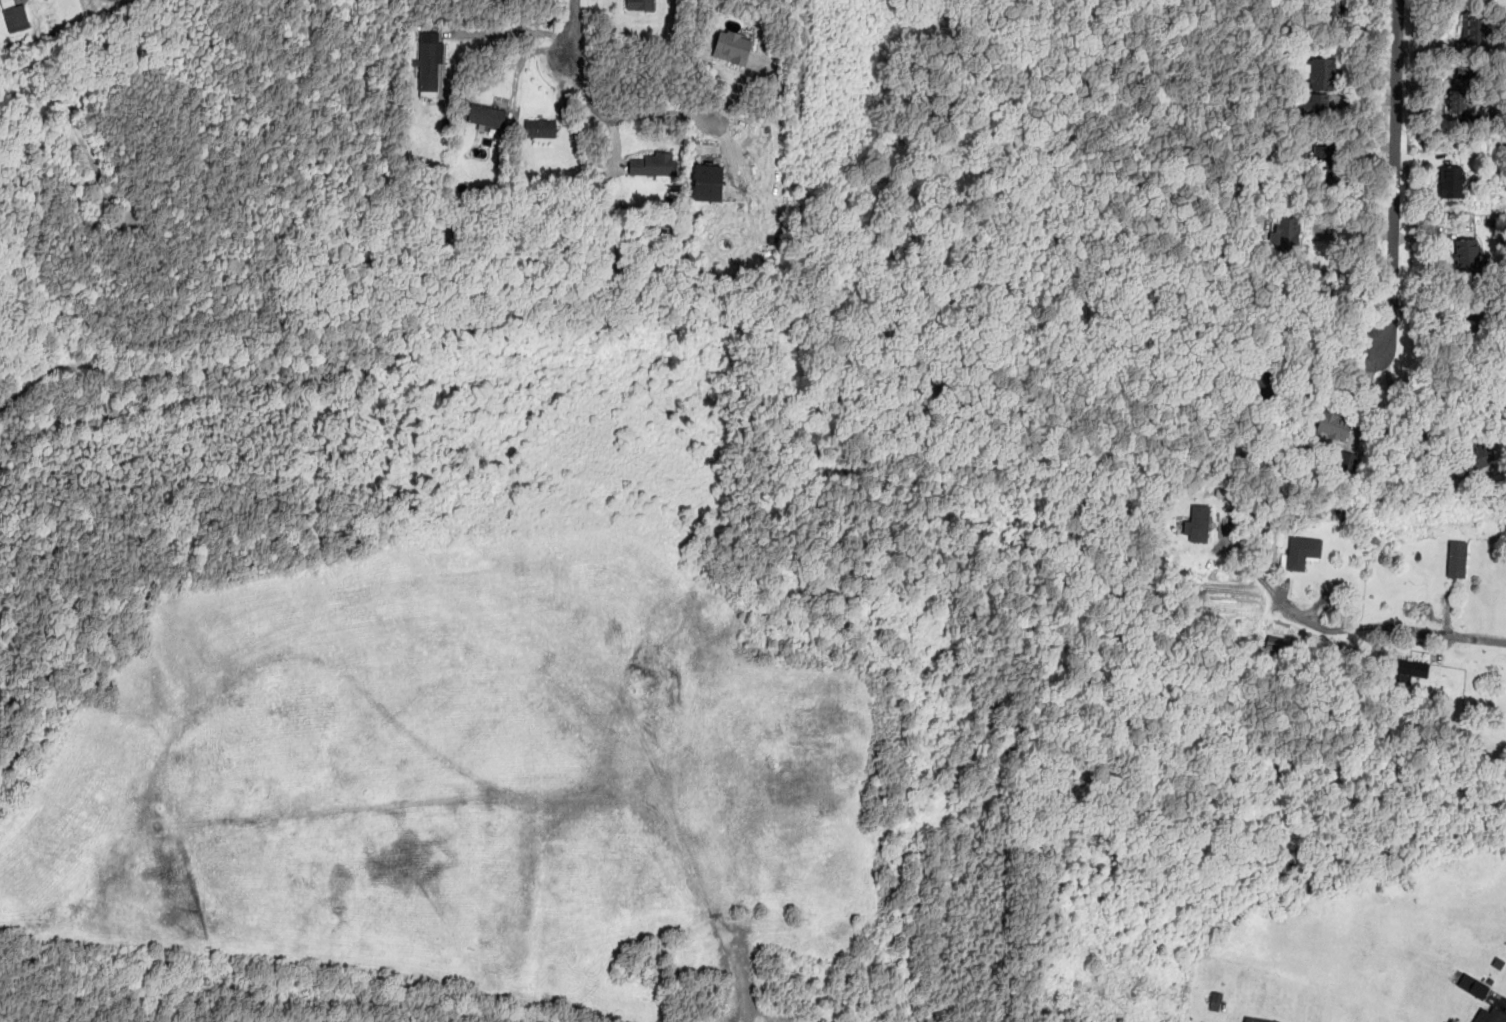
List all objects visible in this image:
building: (639, 5)
building: (1330, 7)
building: (14, 14)
building: (1477, 27)
road: (575, 30)
road: (513, 32)
building: (731, 47)
road: (520, 61)
building: (429, 62)
building: (1322, 73)
building: (1462, 91)
road: (733, 95)
building: (1318, 101)
building: (486, 116)
road: (623, 118)
building: (540, 128)
building: (1324, 161)
building: (652, 163)
road: (1394, 178)
building: (1452, 181)
building: (708, 183)
road: (1347, 226)
building: (1284, 232)
building: (1467, 255)
road: (1327, 372)
road: (1397, 406)
building: (1333, 424)
building: (1477, 457)
building: (1349, 458)
building: (1198, 523)
building: (1302, 551)
building: (1456, 558)
road: (1357, 629)
building: (1413, 667)
building: (1498, 962)
building: (1478, 988)
building: (1489, 1016)
building: (1258, 1019)

